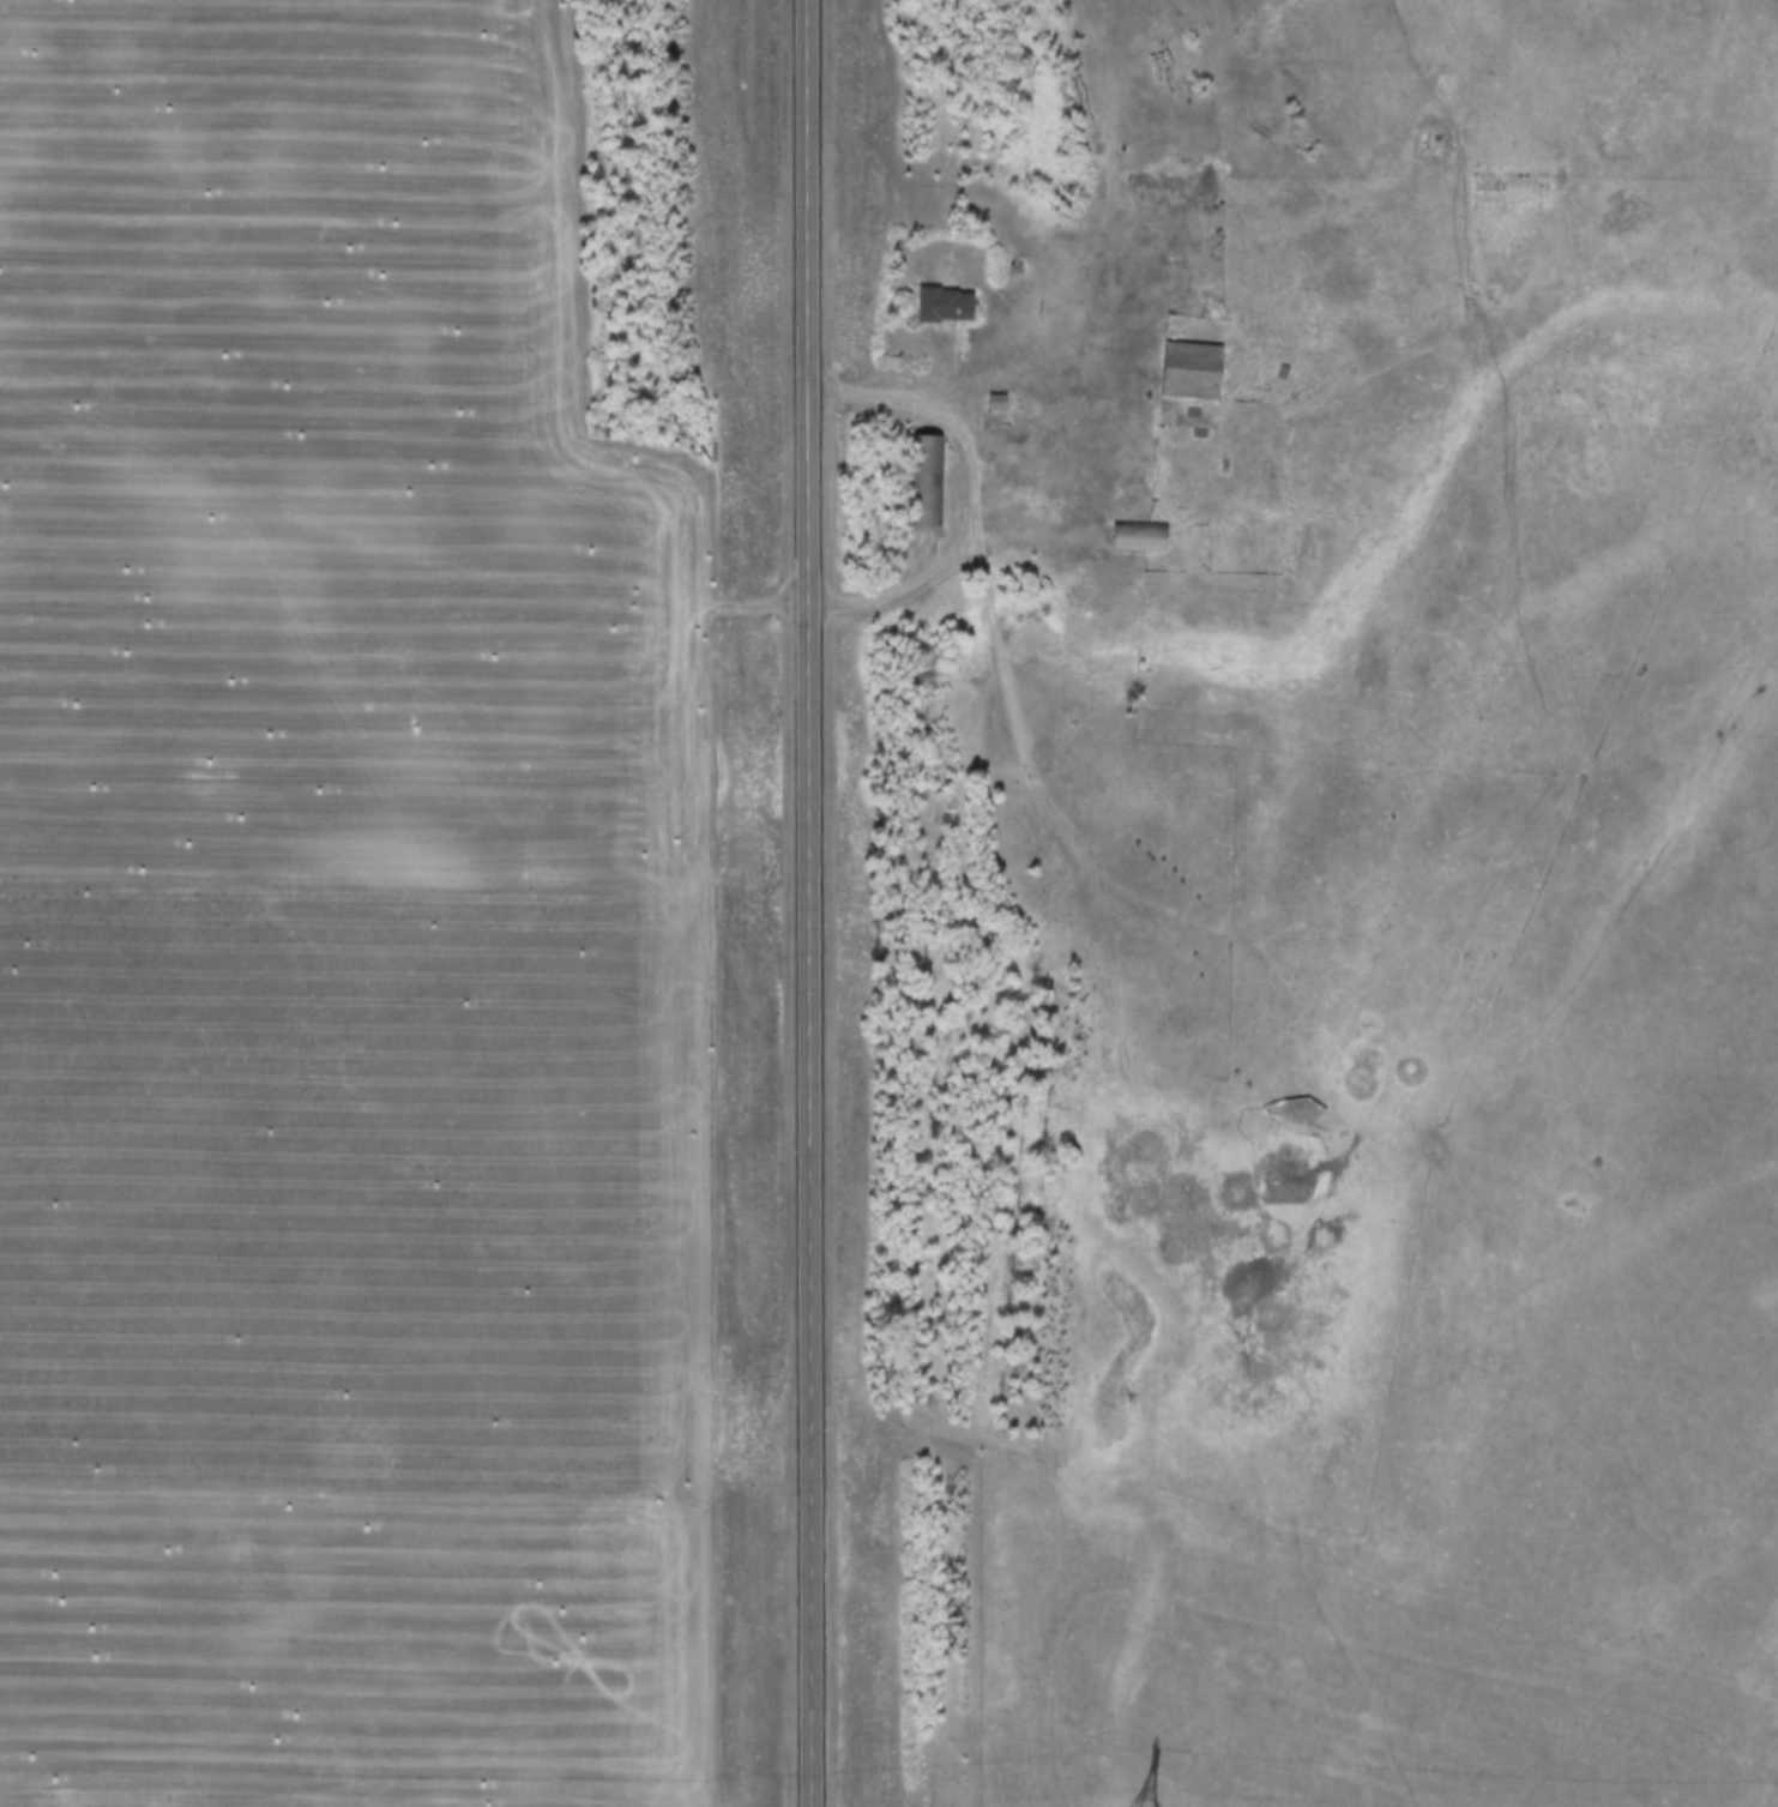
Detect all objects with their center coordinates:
building: (1061, 221)
building: (944, 307)
building: (1189, 372)
road: (1213, 445)
building: (926, 483)
road: (975, 490)
building: (1137, 538)
road: (1020, 733)
road: (806, 903)

